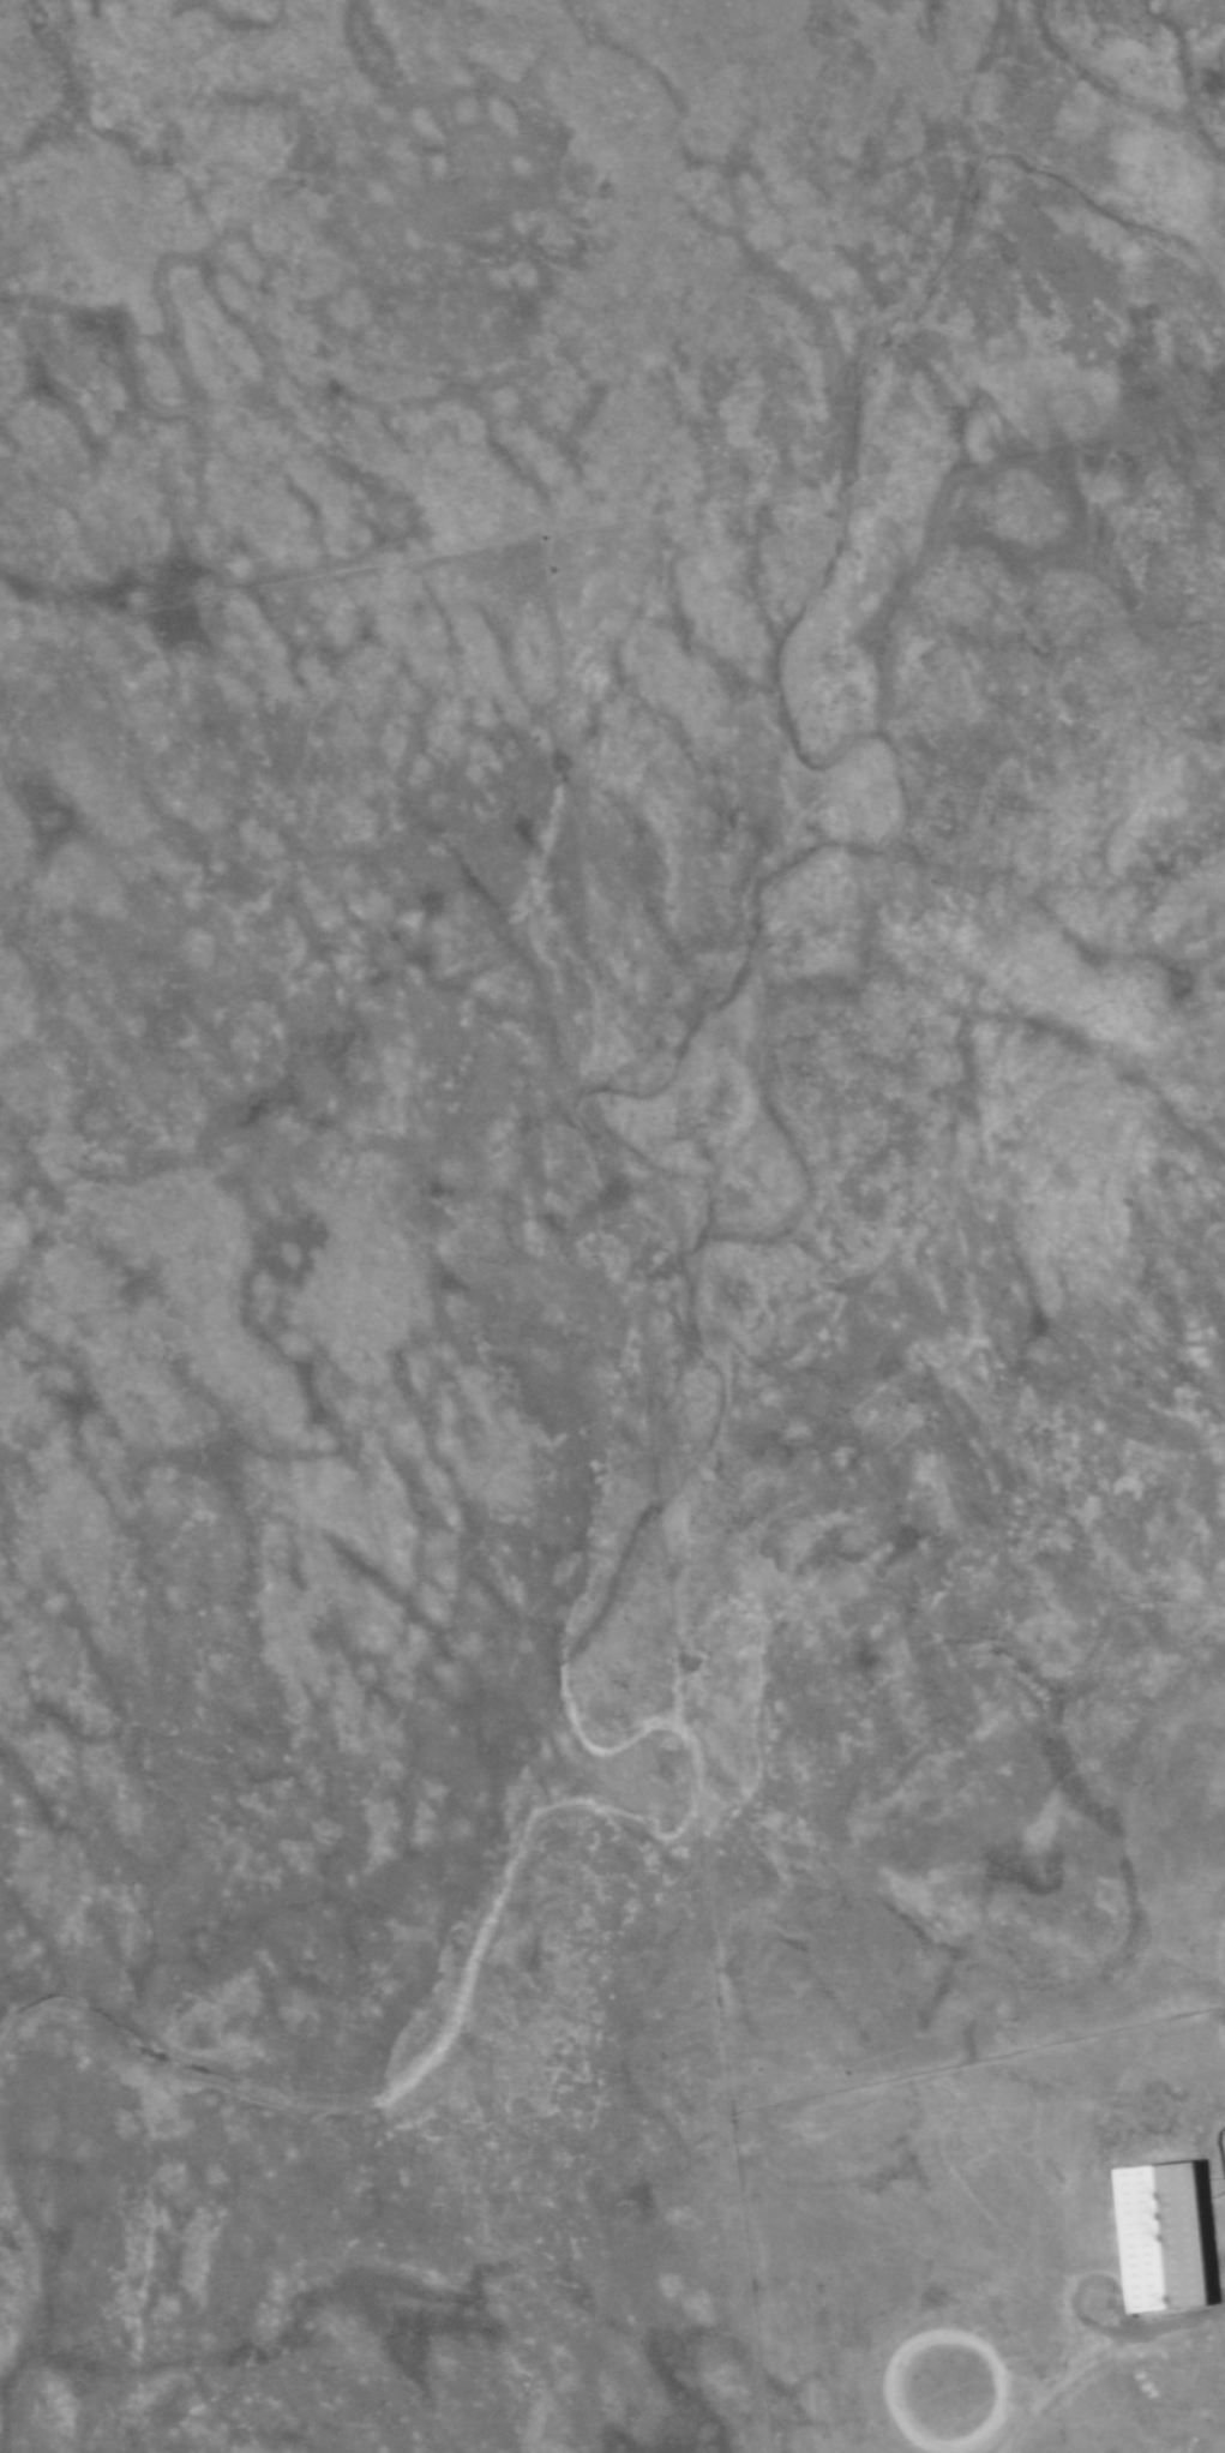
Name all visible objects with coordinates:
building: (1159, 2239)

